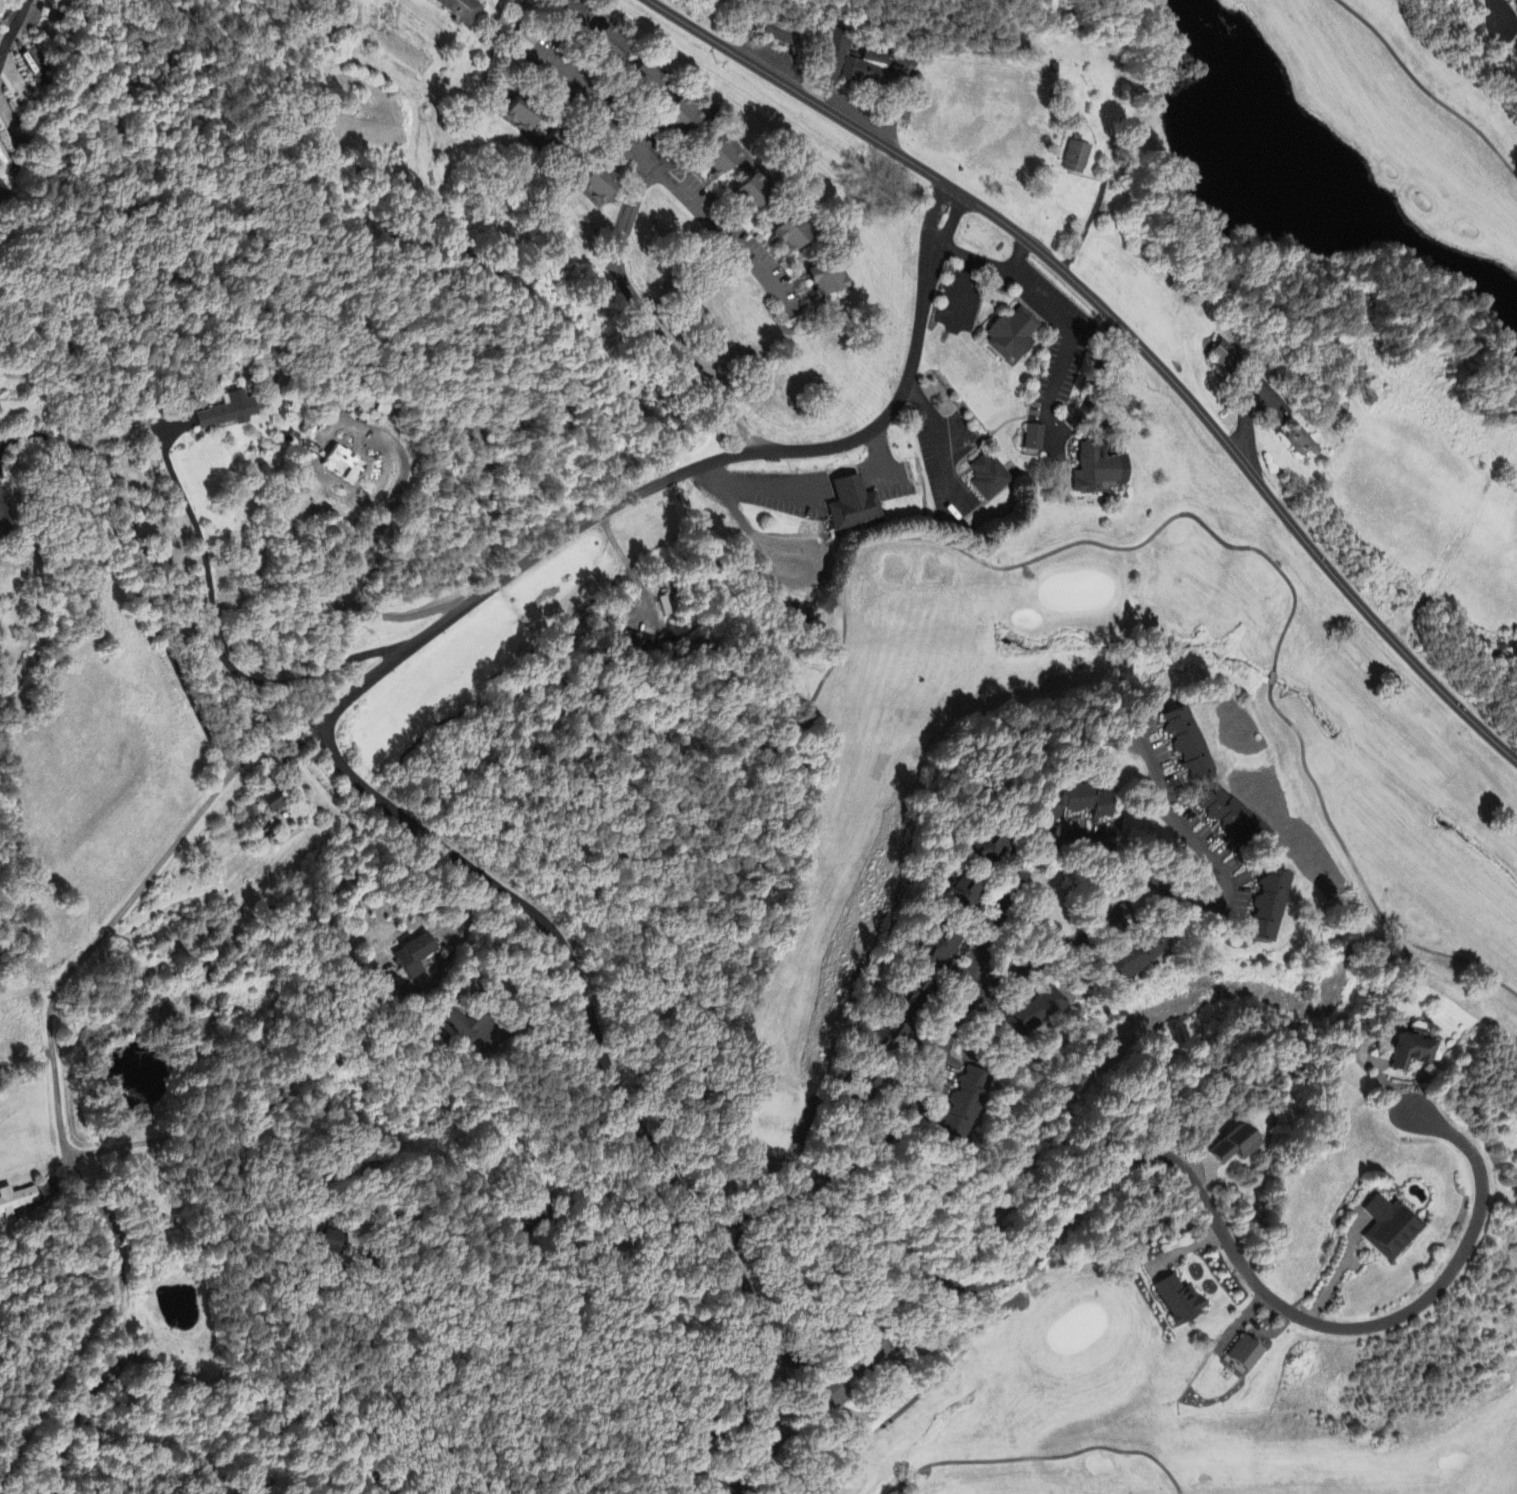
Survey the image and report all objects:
building: (460, 10)
road: (1496, 12)
building: (570, 16)
road: (1509, 17)
road: (12, 31)
building: (779, 34)
building: (608, 45)
building: (856, 62)
building: (643, 80)
building: (521, 116)
building: (679, 119)
park: (1385, 134)
building: (558, 149)
building: (717, 157)
building: (1076, 159)
road: (669, 177)
building: (598, 184)
building: (3, 193)
building: (751, 194)
building: (790, 233)
road: (989, 265)
building: (824, 279)
road: (651, 323)
road: (1063, 329)
road: (1130, 334)
building: (1012, 336)
building: (1225, 356)
road: (1247, 409)
building: (227, 414)
road: (939, 438)
building: (1034, 439)
building: (1302, 444)
building: (1098, 470)
building: (989, 477)
road: (813, 481)
building: (853, 505)
building: (665, 607)
building: (642, 643)
building: (1186, 743)
road: (331, 750)
building: (272, 801)
building: (1076, 803)
building: (1234, 820)
building: (986, 850)
road: (1138, 874)
building: (965, 896)
building: (1267, 907)
road: (111, 922)
road: (467, 926)
building: (938, 949)
building: (413, 957)
building: (1128, 961)
road: (1028, 975)
park: (1148, 989)
building: (914, 995)
building: (1029, 1014)
building: (471, 1030)
building: (890, 1038)
building: (1412, 1051)
road: (1377, 1072)
building: (961, 1105)
building: (1234, 1147)
road: (863, 1161)
building: (16, 1201)
road: (1216, 1219)
building: (1391, 1229)
building: (1179, 1302)
road: (808, 1346)
building: (1245, 1354)

